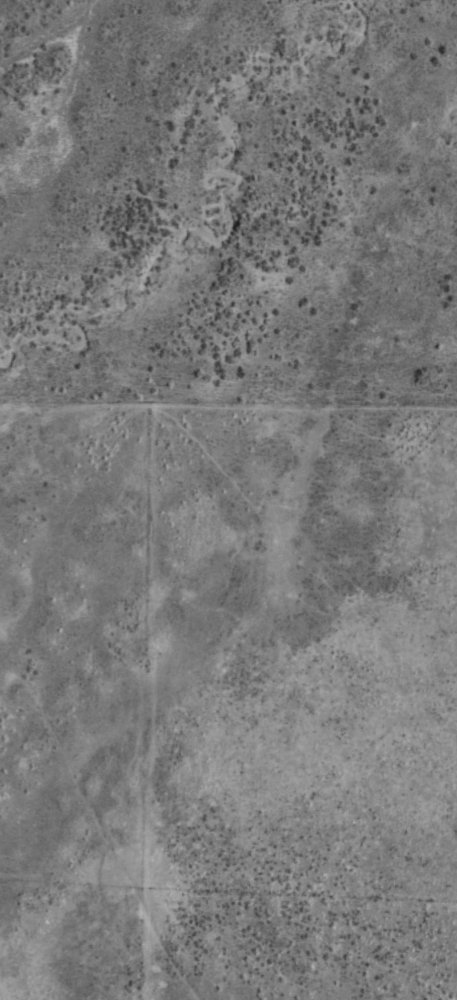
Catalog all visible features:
crop: (228, 500)

